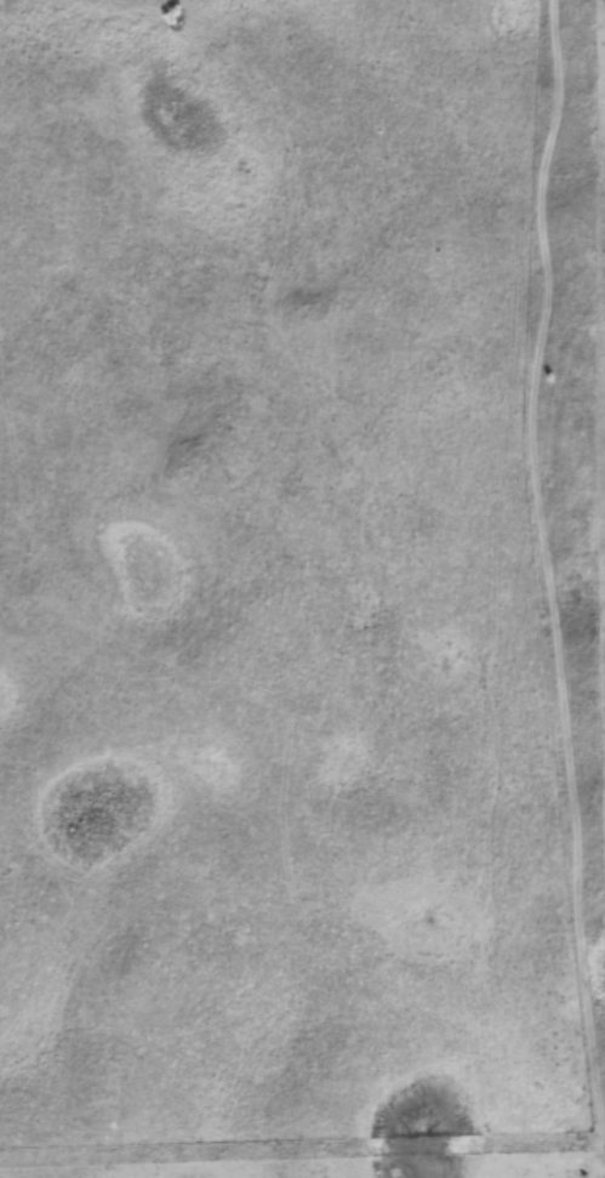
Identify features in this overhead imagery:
road: (302, 1167)

